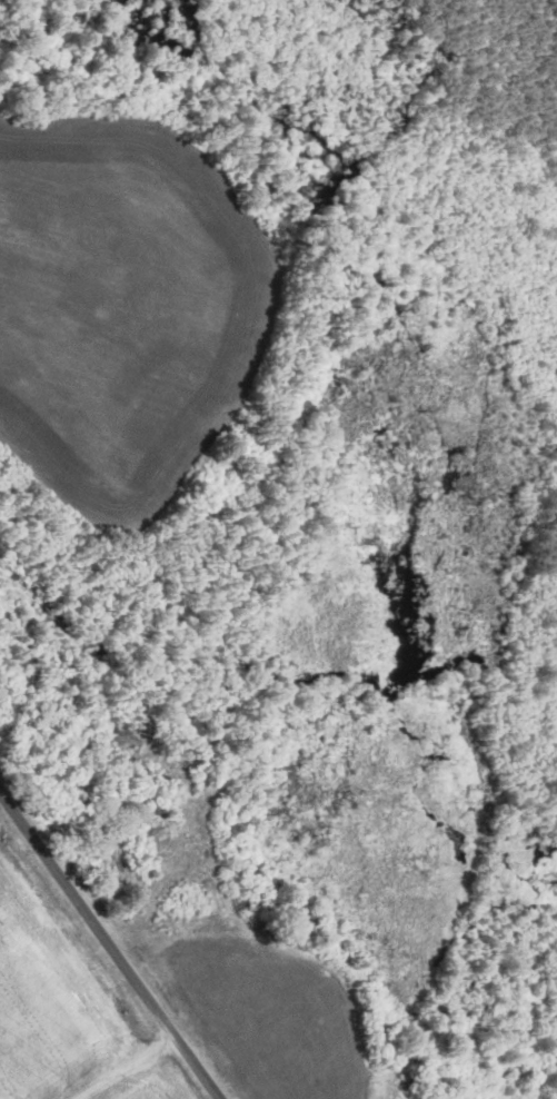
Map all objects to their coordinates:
road: (109, 945)

